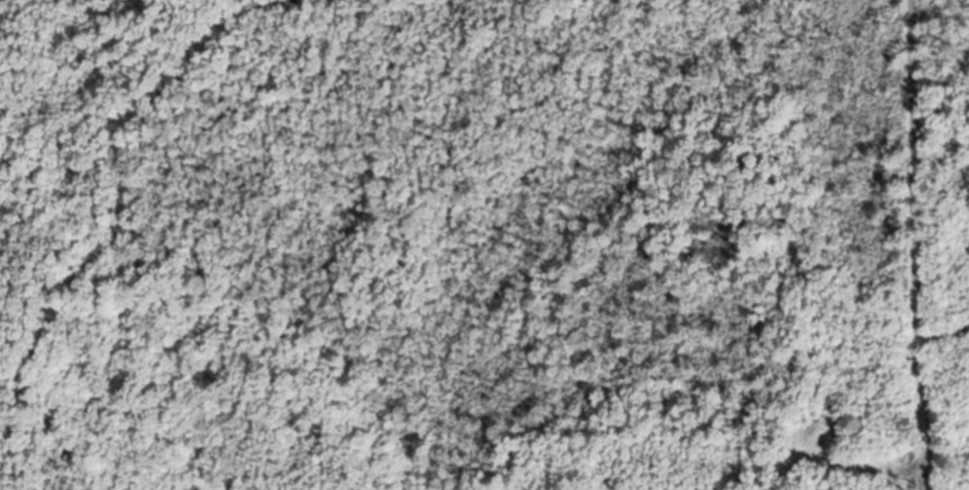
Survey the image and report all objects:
road: (123, 227)
road: (912, 245)
road: (12, 397)

